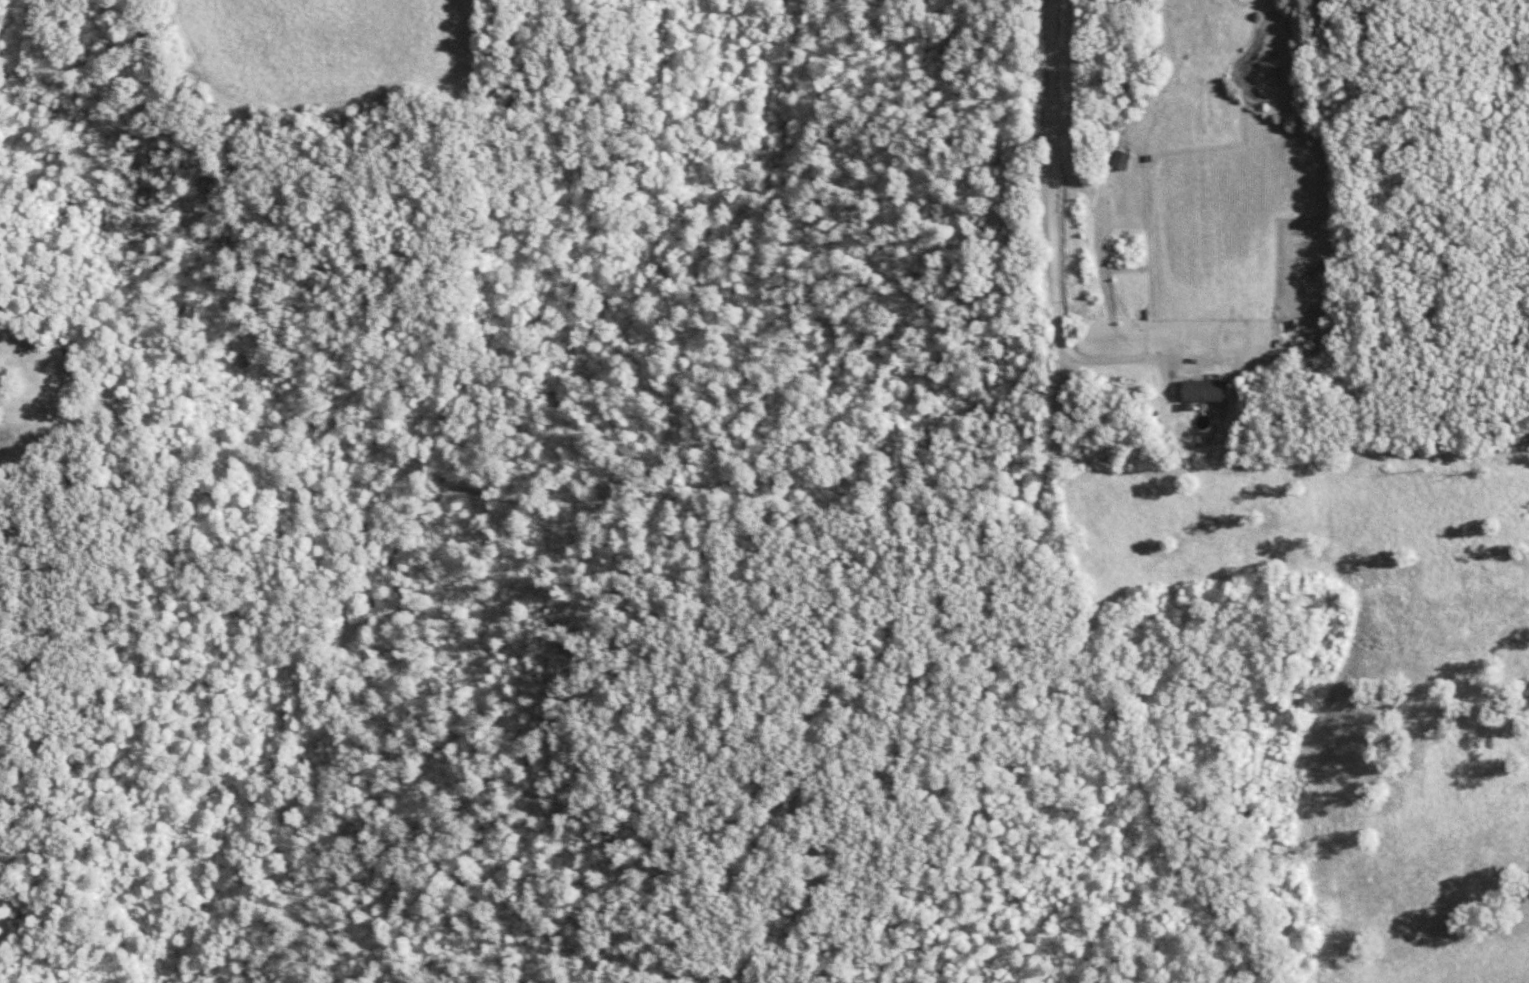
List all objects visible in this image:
road: (1058, 228)

